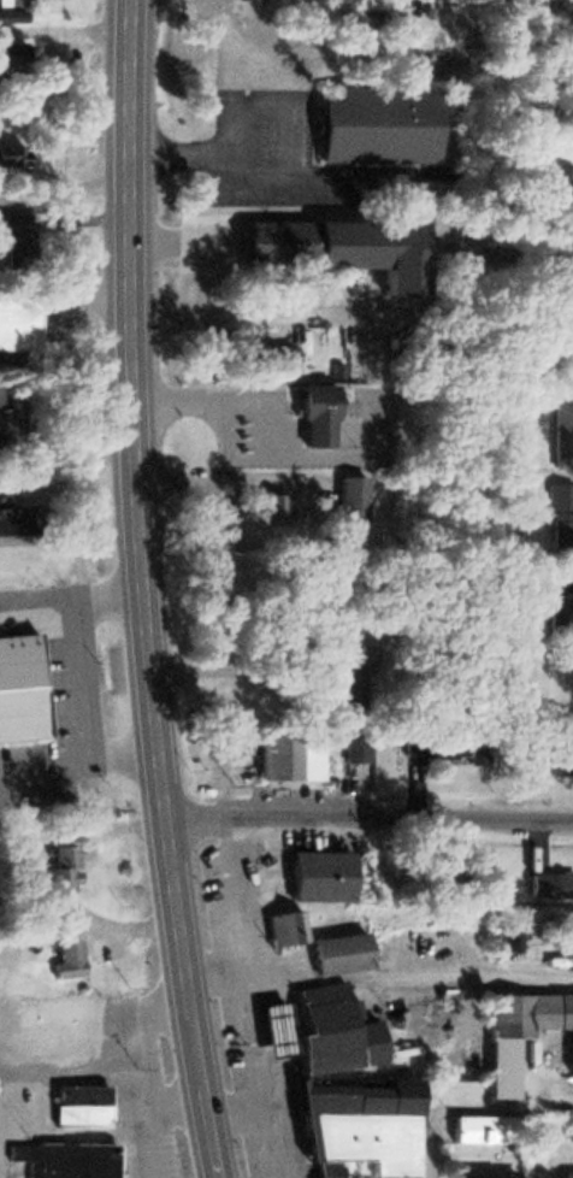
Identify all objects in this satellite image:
building: (11, 2)
building: (10, 14)
building: (441, 40)
building: (10, 53)
building: (367, 123)
building: (8, 155)
building: (559, 179)
building: (12, 235)
building: (335, 245)
building: (13, 322)
building: (306, 411)
building: (5, 422)
building: (560, 432)
building: (342, 496)
building: (265, 506)
building: (556, 512)
building: (14, 517)
road: (137, 591)
building: (547, 597)
building: (348, 673)
building: (352, 744)
building: (309, 746)
building: (271, 753)
building: (538, 762)
road: (367, 813)
building: (61, 866)
building: (302, 873)
building: (549, 882)
building: (571, 925)
building: (313, 941)
building: (64, 955)
building: (52, 1018)
building: (268, 1026)
building: (325, 1027)
building: (521, 1027)
building: (76, 1103)
building: (485, 1126)
building: (61, 1158)
building: (488, 1172)
building: (566, 1172)

